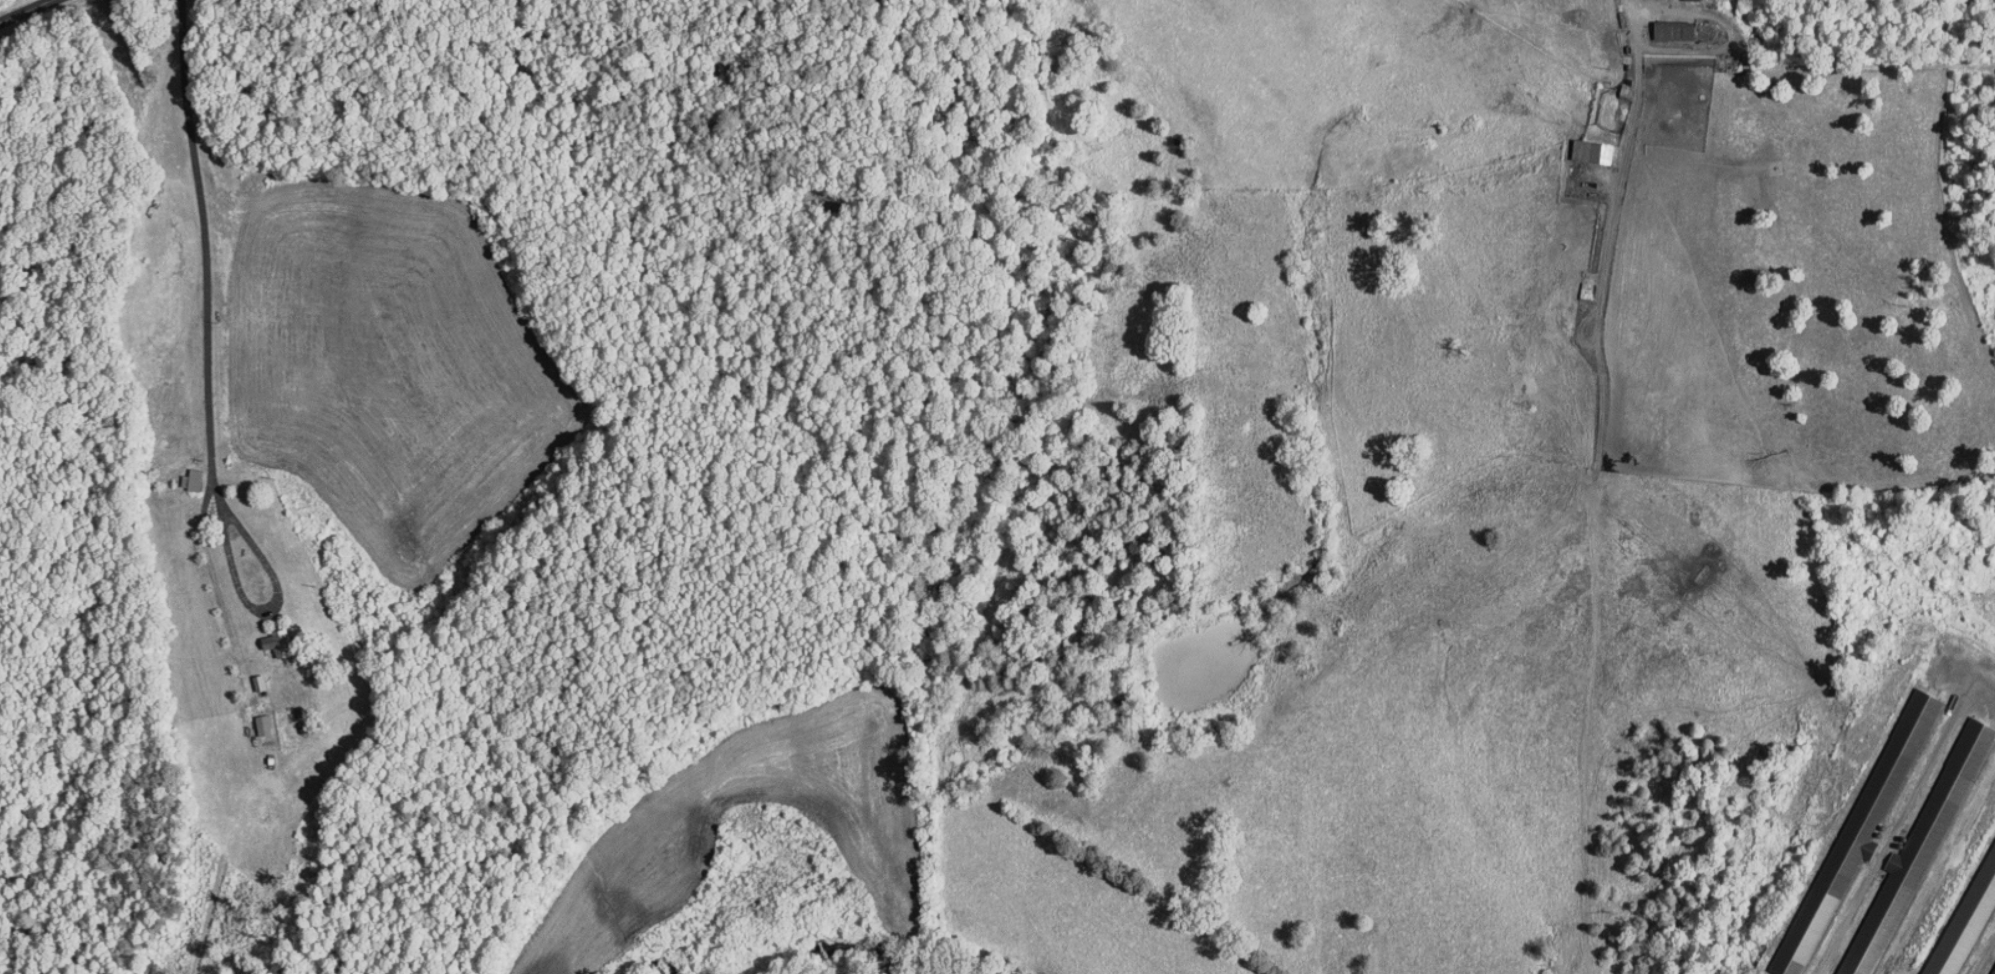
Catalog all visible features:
road: (26, 11)
road: (1638, 11)
building: (1660, 25)
building: (1583, 146)
road: (205, 248)
road: (1592, 467)
building: (179, 473)
road: (268, 608)
building: (250, 718)
building: (1850, 814)
building: (1897, 856)
building: (1962, 901)
building: (1988, 960)

